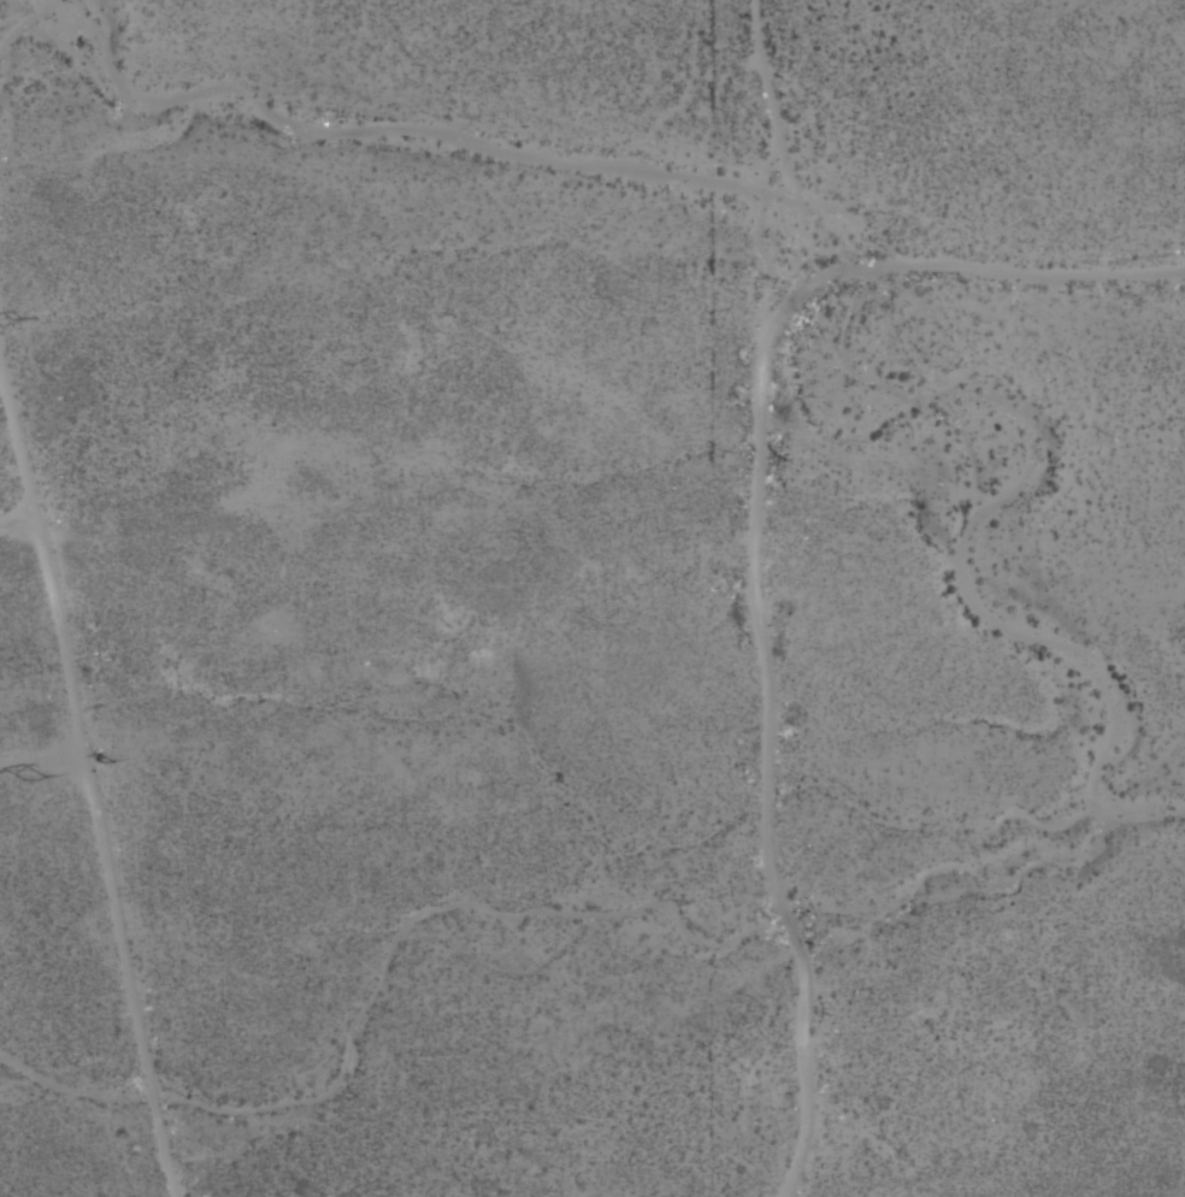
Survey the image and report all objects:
power tower: (18, 317)
power tower: (106, 760)
power tower: (34, 777)

